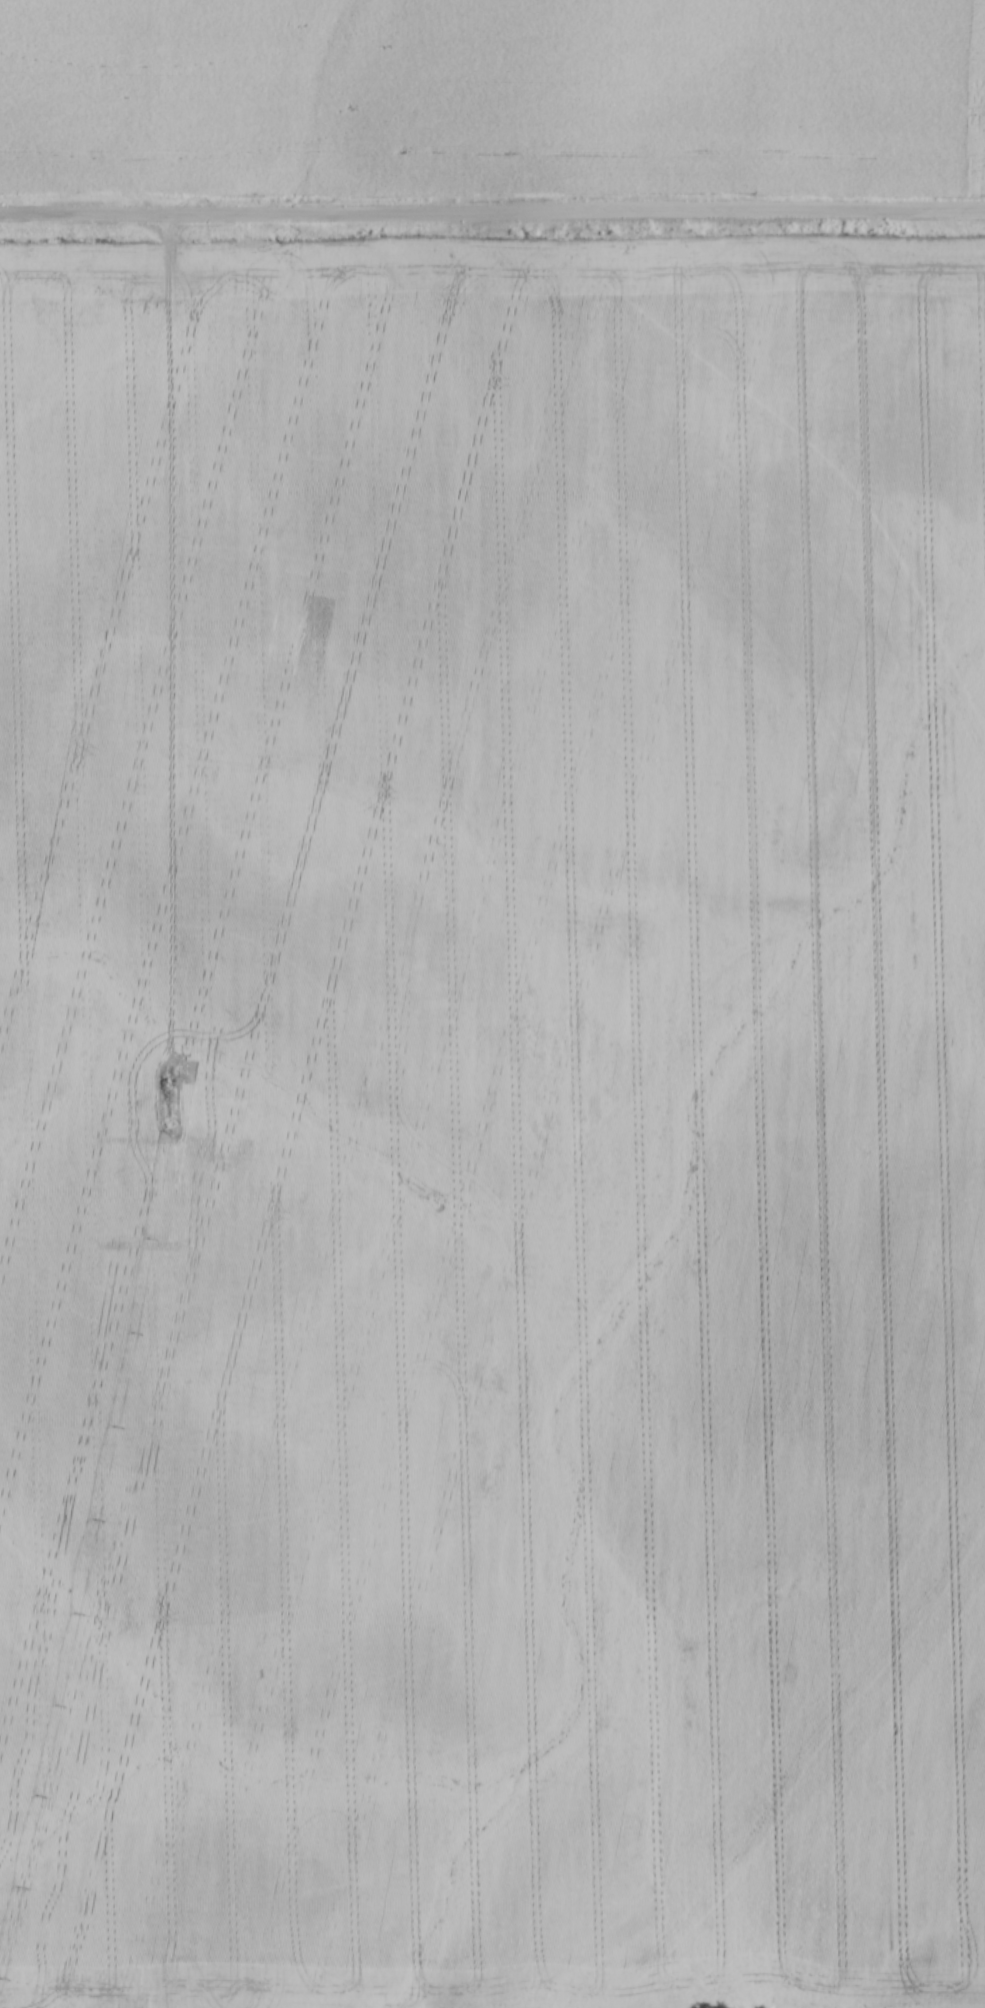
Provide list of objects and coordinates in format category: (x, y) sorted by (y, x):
road: (492, 217)

